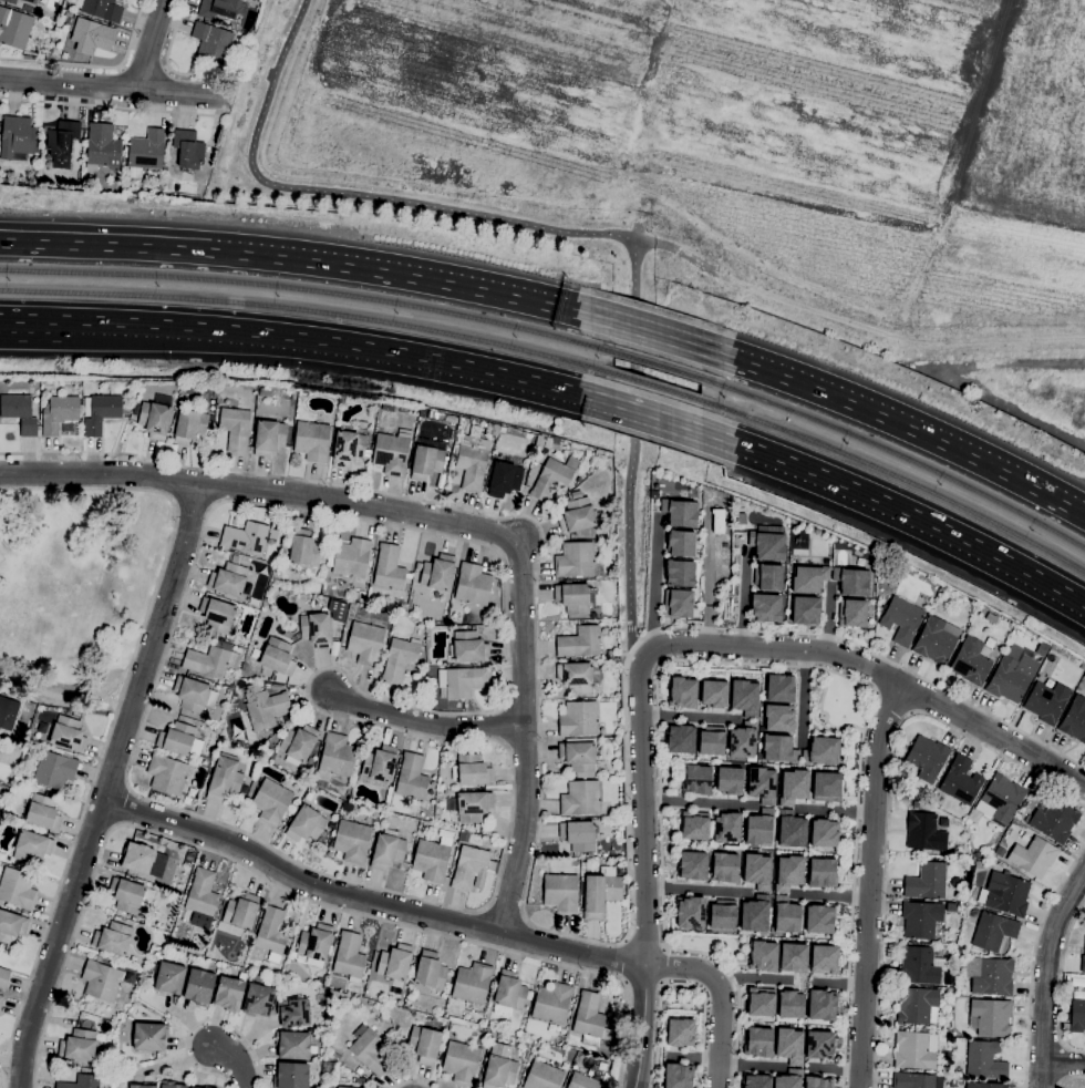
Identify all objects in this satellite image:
building: (11, 1)
building: (31, 1)
building: (219, 8)
building: (101, 9)
building: (14, 27)
building: (91, 37)
building: (213, 42)
road: (151, 43)
building: (50, 50)
road: (95, 64)
road: (144, 66)
road: (168, 66)
road: (112, 86)
road: (108, 105)
road: (217, 117)
building: (17, 137)
building: (62, 142)
building: (103, 145)
building: (188, 148)
park: (710, 150)
building: (146, 152)
road: (558, 232)
road: (104, 246)
road: (678, 249)
road: (412, 277)
railway: (308, 290)
railway: (309, 310)
road: (142, 322)
road: (655, 336)
road: (142, 339)
road: (449, 361)
railway: (655, 365)
railway: (655, 384)
building: (266, 391)
building: (342, 399)
building: (20, 412)
building: (59, 412)
building: (101, 412)
road: (657, 413)
building: (156, 417)
road: (897, 424)
building: (193, 425)
building: (236, 428)
building: (495, 428)
building: (269, 437)
building: (313, 440)
building: (349, 448)
building: (599, 452)
building: (391, 453)
railway: (897, 453)
building: (473, 461)
building: (426, 462)
railway: (896, 475)
building: (505, 478)
building: (551, 479)
road: (898, 505)
building: (681, 510)
building: (577, 514)
building: (741, 517)
building: (720, 519)
road: (453, 522)
building: (246, 536)
building: (682, 543)
building: (771, 543)
building: (304, 548)
building: (352, 557)
building: (575, 560)
building: (389, 568)
building: (438, 572)
building: (681, 572)
building: (613, 575)
building: (771, 575)
road: (707, 576)
building: (810, 576)
building: (228, 578)
building: (858, 578)
road: (657, 582)
building: (474, 584)
park: (76, 589)
building: (573, 596)
road: (745, 596)
building: (682, 603)
building: (767, 607)
building: (806, 608)
building: (338, 609)
building: (217, 614)
building: (855, 614)
road: (830, 617)
building: (992, 618)
building: (901, 620)
building: (291, 628)
building: (317, 629)
road: (155, 640)
building: (937, 640)
building: (579, 641)
building: (218, 643)
building: (366, 643)
building: (334, 647)
building: (469, 647)
road: (777, 648)
building: (1043, 649)
building: (609, 654)
building: (278, 656)
building: (400, 658)
building: (210, 660)
building: (971, 661)
building: (437, 663)
road: (732, 663)
building: (576, 676)
building: (1012, 677)
building: (462, 680)
building: (779, 688)
building: (683, 690)
building: (229, 691)
building: (194, 694)
building: (714, 694)
road: (55, 695)
building: (747, 696)
road: (807, 696)
road: (375, 697)
building: (1046, 701)
building: (265, 706)
park: (838, 706)
road: (114, 709)
road: (688, 715)
building: (8, 716)
building: (579, 718)
building: (779, 718)
building: (1075, 719)
road: (425, 722)
building: (68, 733)
road: (994, 733)
building: (19, 736)
building: (180, 739)
building: (682, 739)
building: (713, 740)
building: (0, 742)
building: (744, 742)
building: (298, 743)
building: (776, 748)
building: (824, 752)
building: (578, 757)
building: (928, 757)
building: (334, 758)
building: (380, 762)
building: (54, 769)
building: (473, 770)
building: (167, 773)
building: (17, 776)
building: (412, 777)
building: (225, 778)
building: (696, 780)
building: (961, 780)
building: (732, 781)
building: (765, 786)
building: (795, 786)
building: (827, 786)
building: (245, 789)
building: (580, 798)
road: (889, 799)
building: (1001, 799)
building: (271, 801)
road: (697, 802)
building: (916, 803)
road: (125, 805)
building: (471, 805)
road: (643, 808)
road: (836, 810)
building: (42, 812)
building: (1055, 820)
building: (307, 824)
building: (331, 825)
building: (696, 825)
building: (728, 825)
building: (467, 827)
building: (476, 827)
building: (762, 828)
building: (790, 828)
building: (924, 831)
building: (827, 833)
building: (578, 834)
building: (464, 836)
building: (352, 840)
building: (32, 845)
building: (387, 851)
building: (1000, 851)
building: (976, 854)
building: (1034, 856)
building: (138, 858)
building: (432, 859)
building: (979, 863)
building: (1001, 863)
building: (693, 864)
building: (725, 865)
building: (472, 868)
building: (582, 869)
building: (619, 870)
building: (792, 870)
building: (821, 871)
building: (759, 872)
building: (927, 881)
road: (869, 883)
building: (17, 887)
road: (285, 887)
road: (696, 890)
building: (601, 891)
building: (561, 892)
road: (525, 893)
building: (1005, 893)
building: (130, 894)
road: (830, 896)
building: (203, 897)
road: (368, 900)
building: (952, 904)
building: (960, 905)
building: (242, 910)
road: (504, 913)
building: (691, 913)
building: (786, 914)
building: (723, 915)
building: (758, 915)
building: (821, 916)
building: (922, 917)
building: (11, 925)
building: (993, 931)
building: (271, 933)
building: (113, 938)
road: (56, 942)
building: (316, 944)
park: (715, 947)
building: (99, 956)
building: (350, 956)
building: (764, 956)
building: (796, 957)
road: (624, 958)
building: (826, 958)
road: (1032, 961)
building: (1083, 963)
building: (920, 964)
building: (395, 965)
building: (431, 971)
building: (990, 975)
building: (3, 977)
road: (1043, 977)
building: (169, 978)
building: (948, 978)
building: (102, 979)
road: (755, 979)
building: (320, 981)
road: (795, 982)
building: (472, 983)
road: (681, 983)
road: (837, 983)
road: (1061, 984)
building: (199, 987)
building: (229, 993)
building: (509, 993)
road: (722, 995)
building: (1, 999)
building: (258, 999)
building: (761, 1000)
building: (552, 1002)
building: (790, 1004)
building: (821, 1004)
building: (917, 1005)
building: (293, 1013)
building: (1077, 1015)
building: (990, 1017)
building: (589, 1018)
road: (206, 1020)
building: (112, 1025)
road: (643, 1025)
building: (551, 1027)
building: (679, 1031)
building: (149, 1036)
building: (759, 1041)
building: (424, 1044)
building: (789, 1044)
building: (79, 1045)
building: (292, 1045)
building: (823, 1045)
building: (914, 1049)
building: (370, 1050)
road: (696, 1055)
building: (985, 1060)
road: (232, 1061)
building: (462, 1061)
road: (1062, 1063)
road: (751, 1065)
building: (329, 1067)
road: (835, 1069)
building: (945, 1069)
building: (359, 1070)
building: (498, 1071)
building: (291, 1076)
building: (542, 1076)
building: (676, 1077)
road: (1069, 1078)
building: (788, 1080)
building: (912, 1080)
building: (85, 1081)
road: (414, 1081)
building: (582, 1081)
building: (756, 1081)
building: (817, 1084)
building: (953, 1084)
building: (170, 1085)
building: (985, 1085)
building: (144, 1086)
building: (196, 1087)
building: (210, 1087)
building: (345, 1087)

